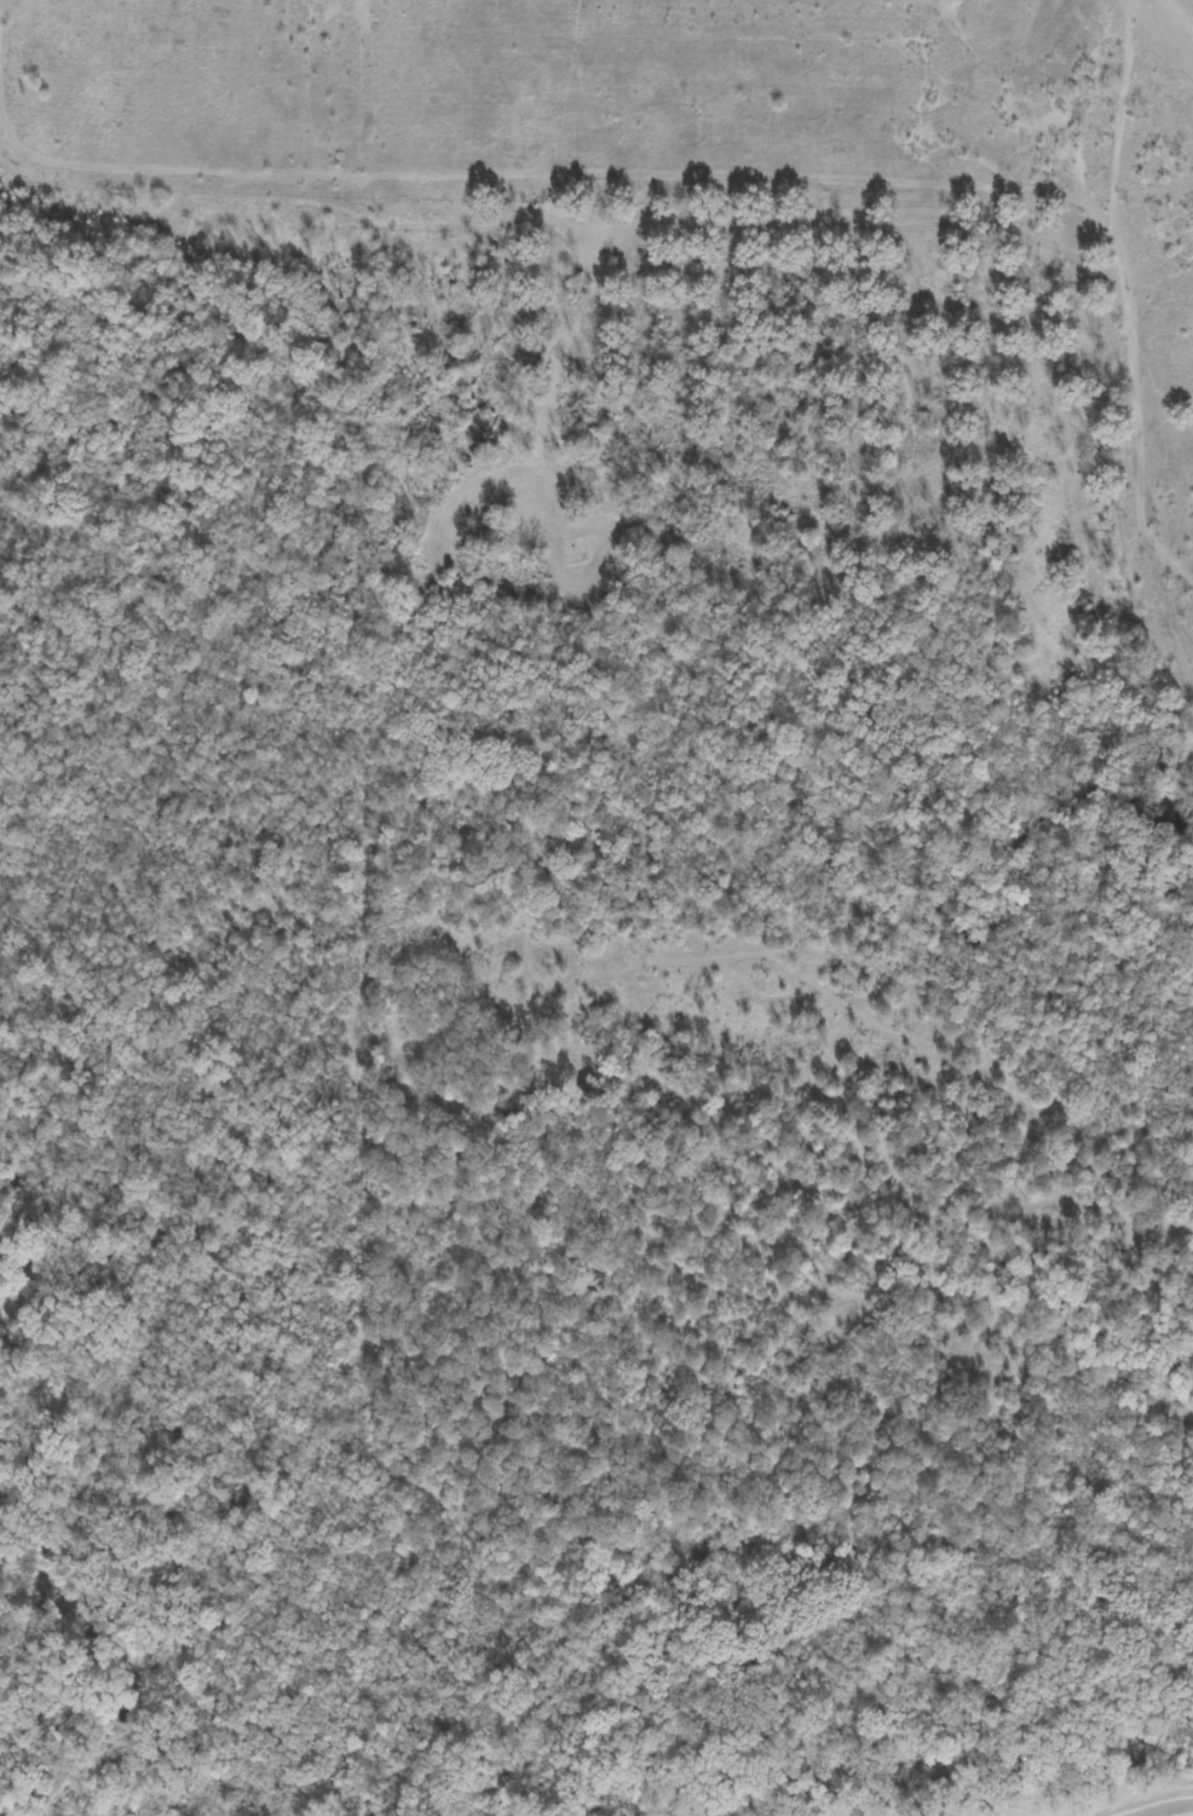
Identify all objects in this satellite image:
road: (152, 87)

